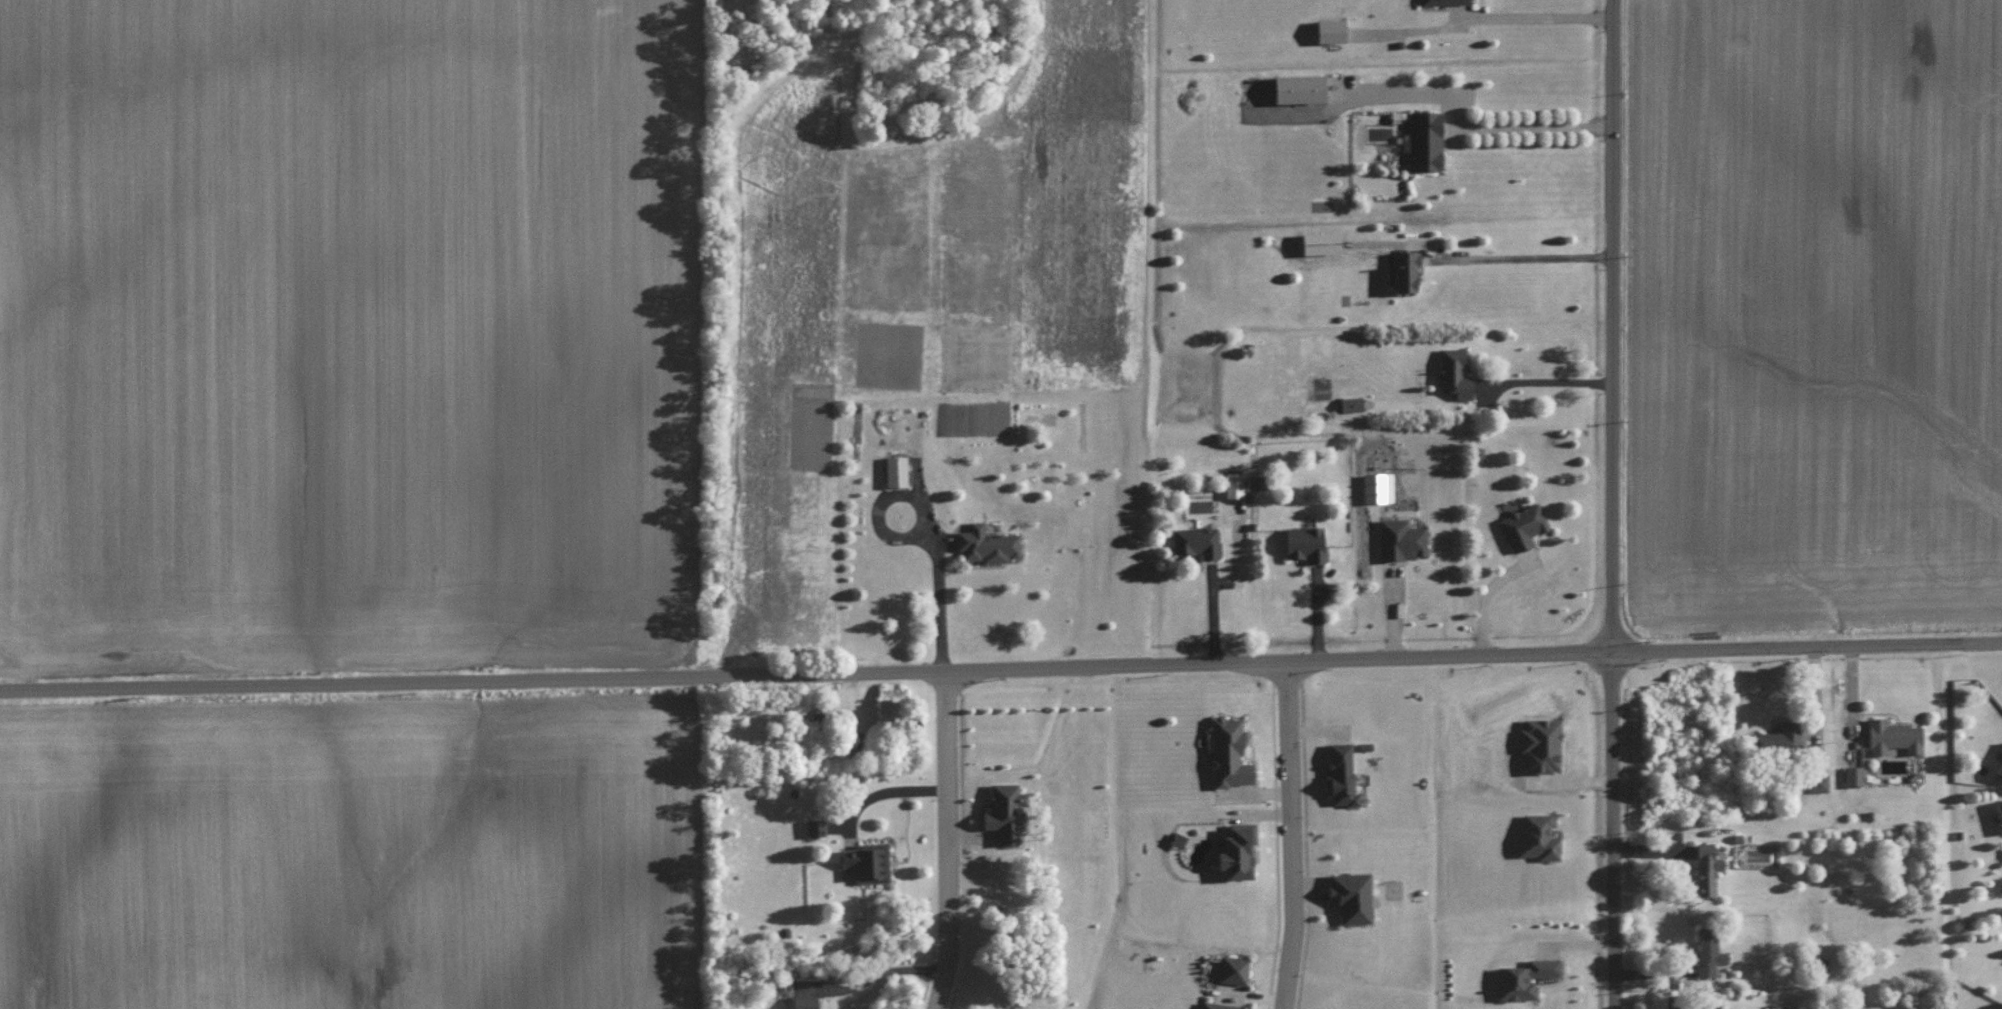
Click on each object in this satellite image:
building: (1445, 1)
road: (1538, 17)
building: (1331, 30)
building: (1299, 87)
road: (1536, 126)
building: (1425, 140)
road: (1520, 256)
building: (1405, 270)
building: (1455, 372)
road: (1548, 381)
building: (1352, 403)
building: (1382, 453)
building: (896, 470)
building: (1234, 484)
road: (1611, 504)
road: (928, 525)
building: (1523, 525)
building: (1401, 539)
building: (1198, 540)
building: (1306, 543)
building: (987, 544)
road: (1485, 598)
road: (1212, 612)
road: (1001, 668)
building: (891, 703)
building: (824, 729)
building: (1893, 735)
building: (1777, 737)
building: (1228, 751)
building: (2000, 769)
building: (1341, 774)
building: (1853, 774)
building: (1817, 782)
road: (887, 790)
building: (1006, 810)
building: (1999, 811)
building: (816, 826)
road: (1292, 834)
building: (1538, 836)
road: (949, 840)
building: (1237, 851)
building: (868, 860)
building: (1707, 867)
building: (1351, 895)
building: (1708, 950)
building: (1233, 969)
road: (872, 976)
building: (1524, 977)
building: (804, 1001)
building: (1218, 1005)
building: (1717, 1008)

